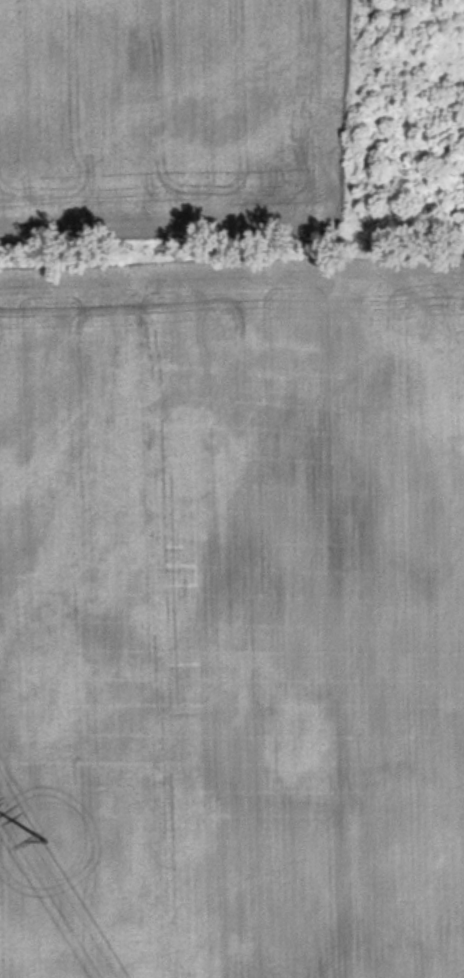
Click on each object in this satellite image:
power tower: (44, 838)

